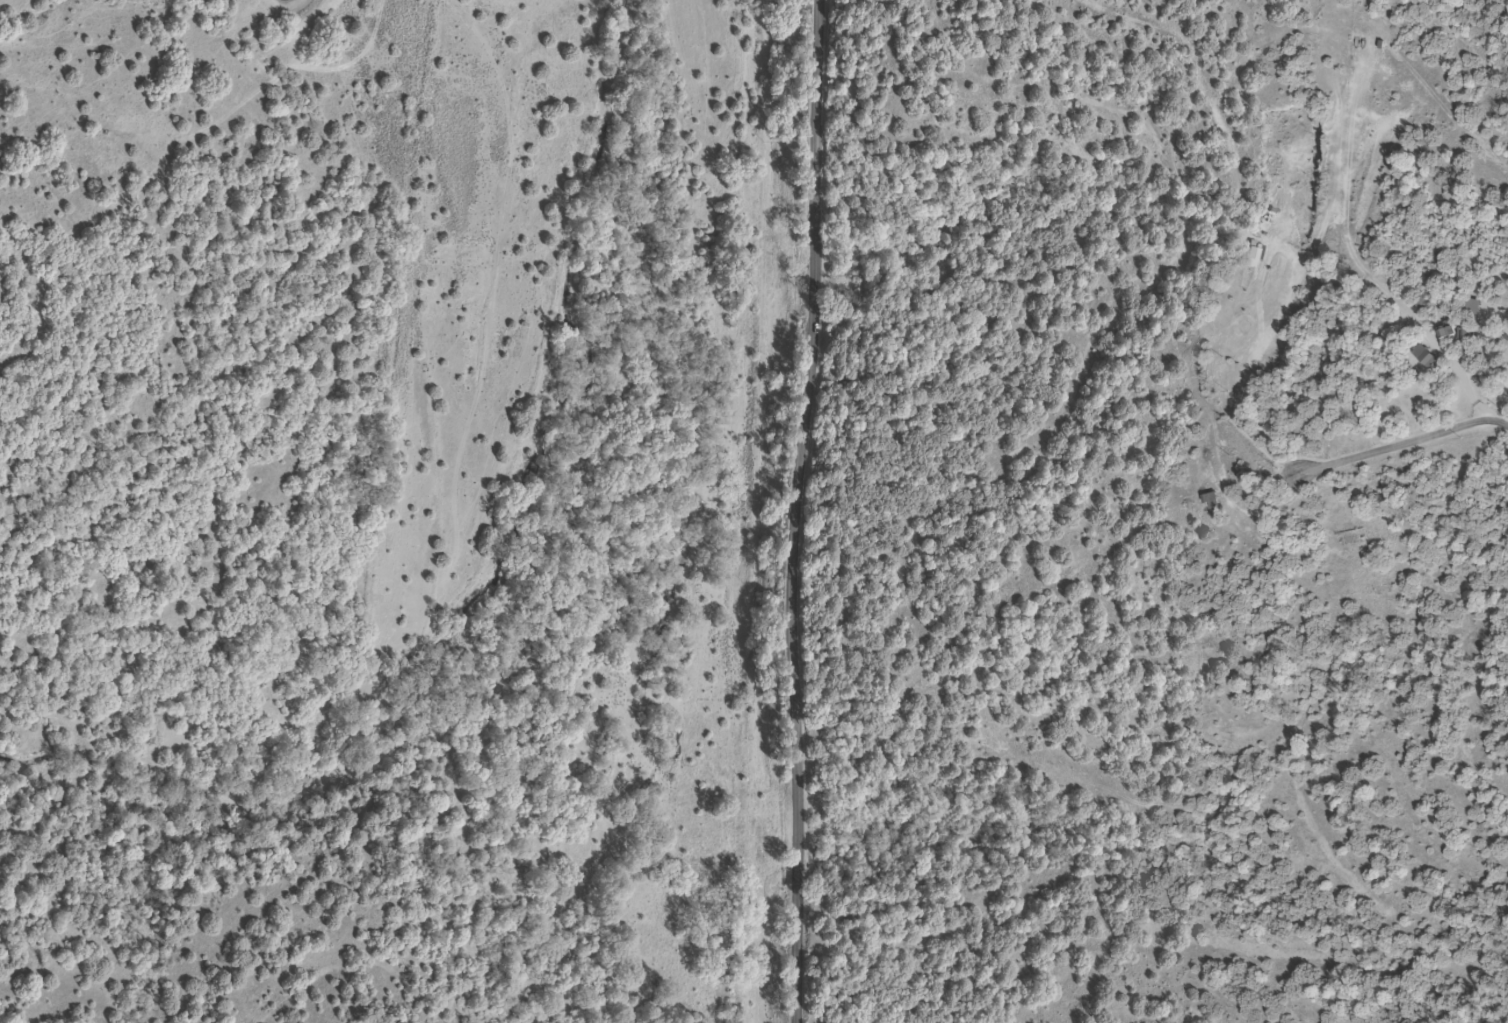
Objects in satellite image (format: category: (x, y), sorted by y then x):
building: (1418, 304)
building: (1469, 307)
building: (1442, 330)
building: (1462, 334)
building: (1420, 356)
road: (1412, 443)
building: (1211, 501)
road: (807, 511)

